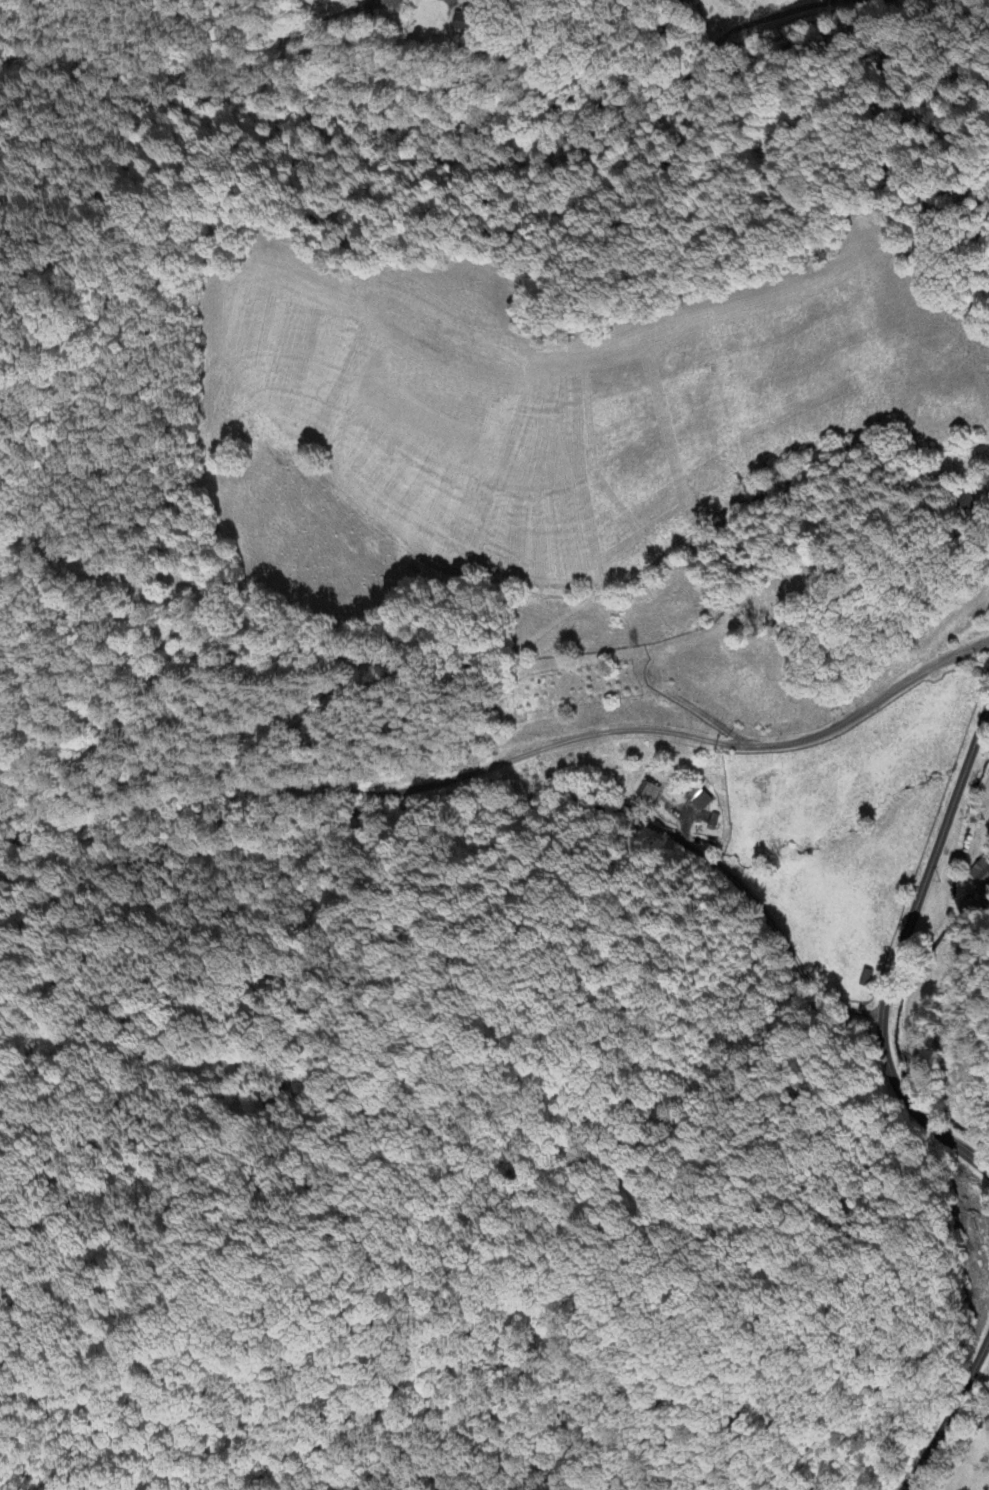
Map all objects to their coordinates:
building: (469, 21)
road: (584, 103)
building: (960, 499)
park: (773, 597)
road: (502, 766)
building: (647, 792)
building: (701, 801)
building: (982, 872)
road: (897, 952)
road: (946, 1407)

